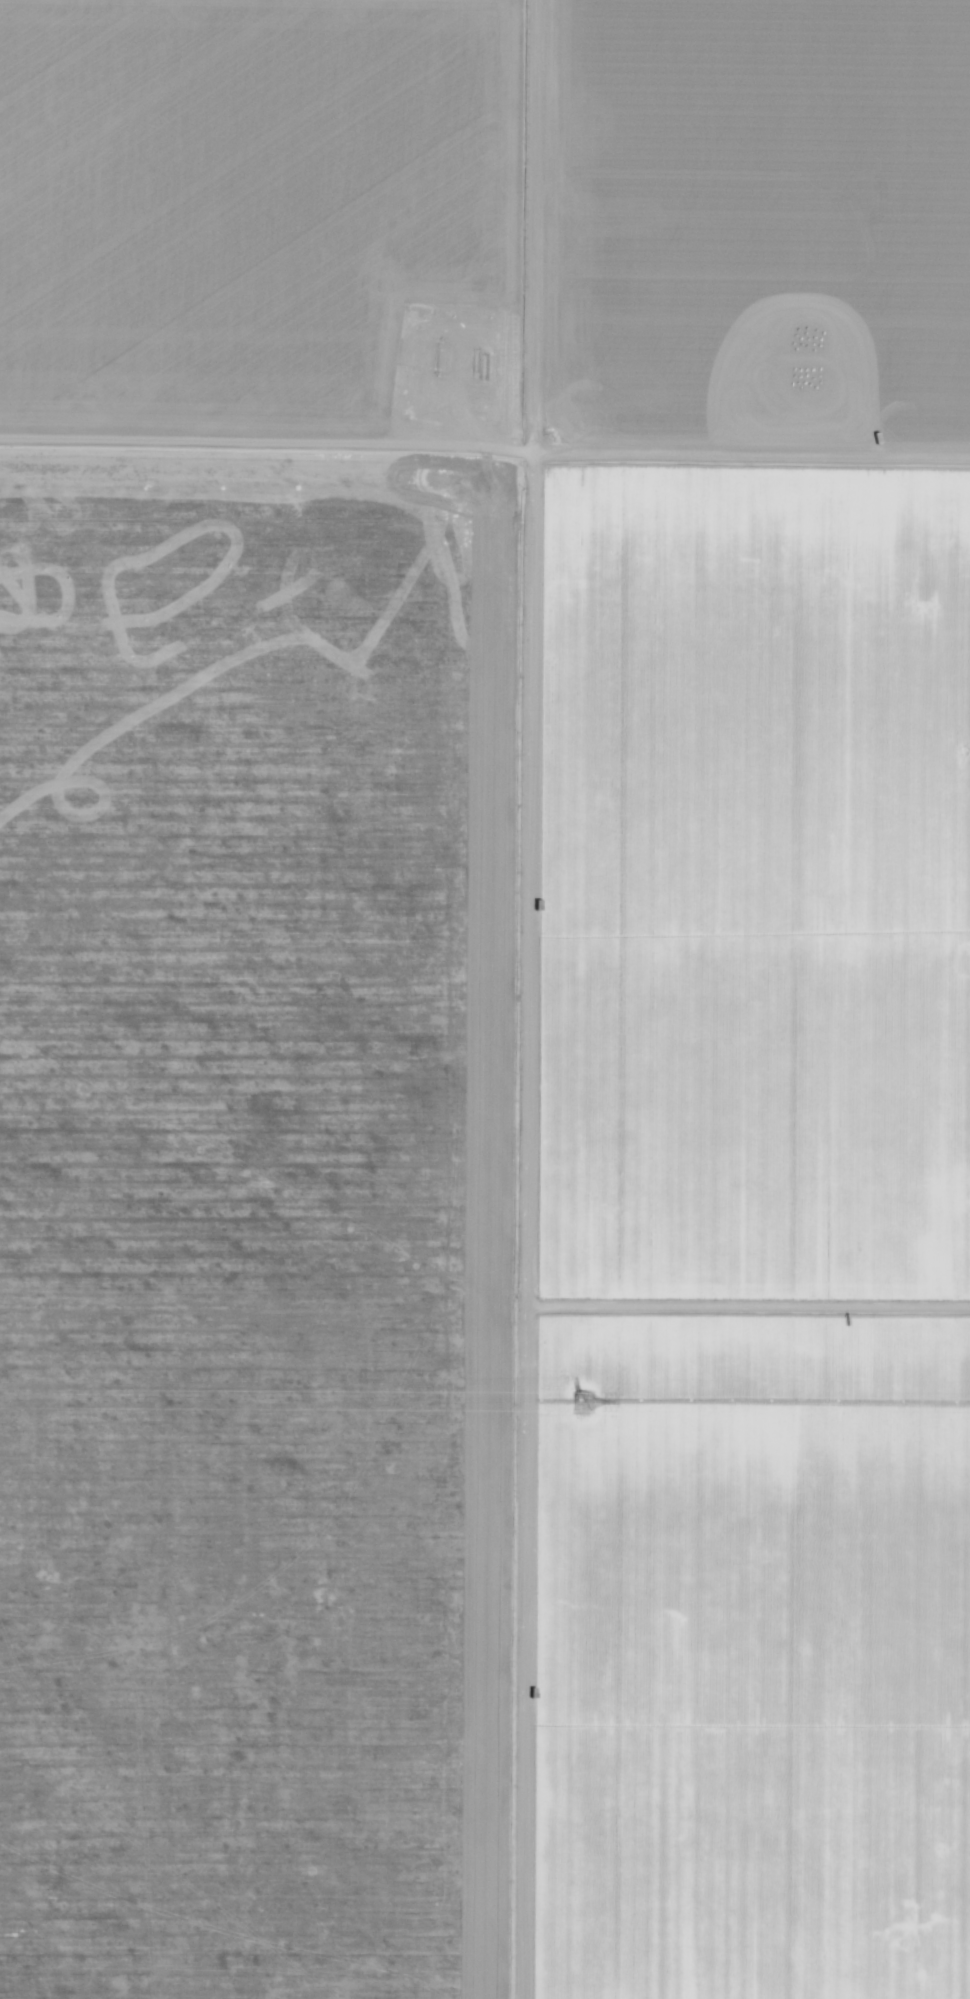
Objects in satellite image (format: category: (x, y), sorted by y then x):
road: (485, 446)
road: (547, 999)
crop: (742, 1238)
power tower: (579, 1402)

